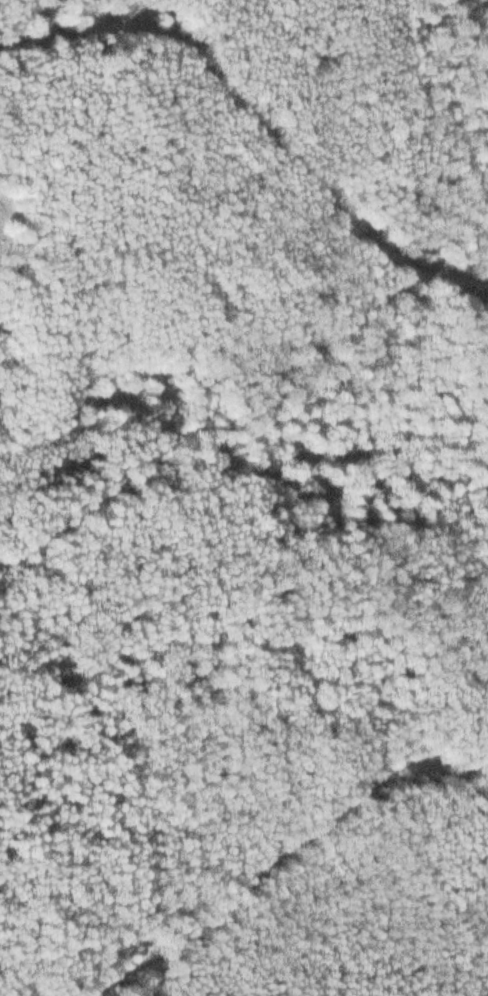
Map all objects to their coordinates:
road: (260, 122)
road: (293, 849)

